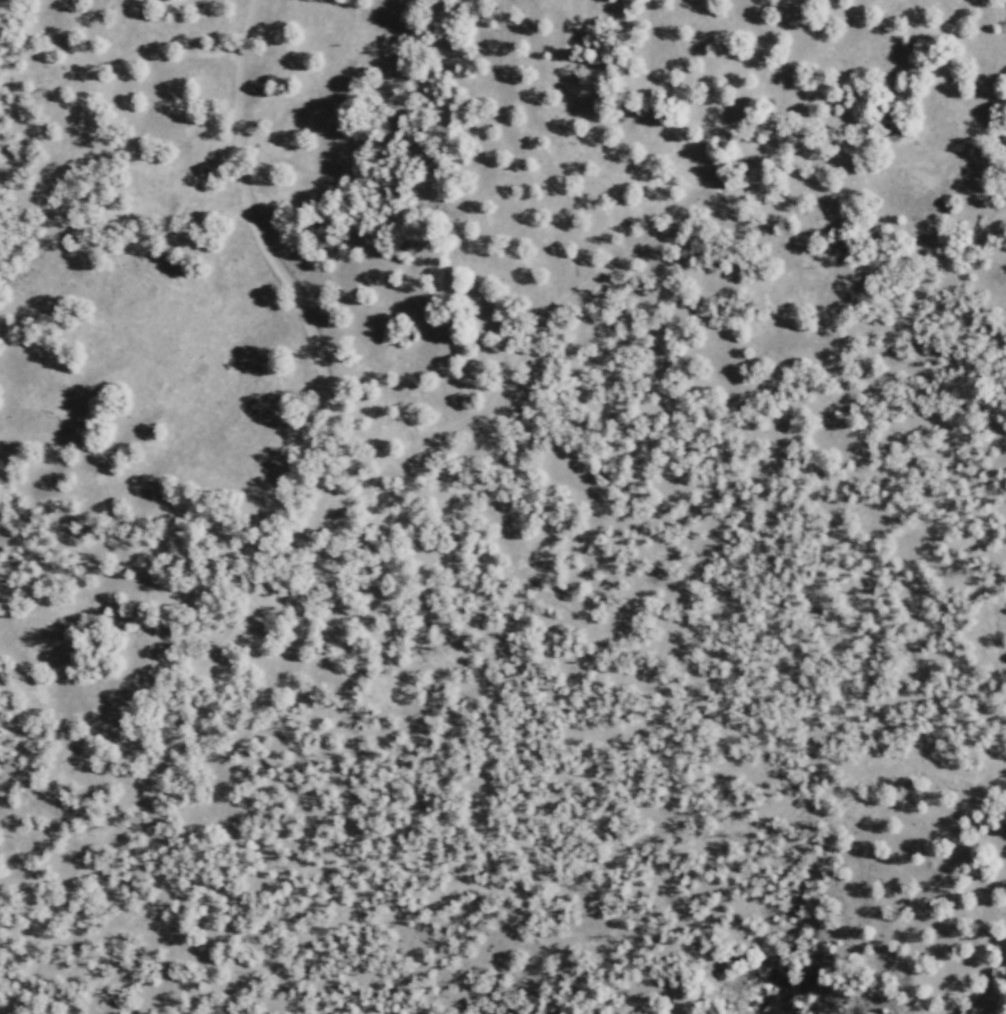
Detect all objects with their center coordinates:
road: (670, 224)

